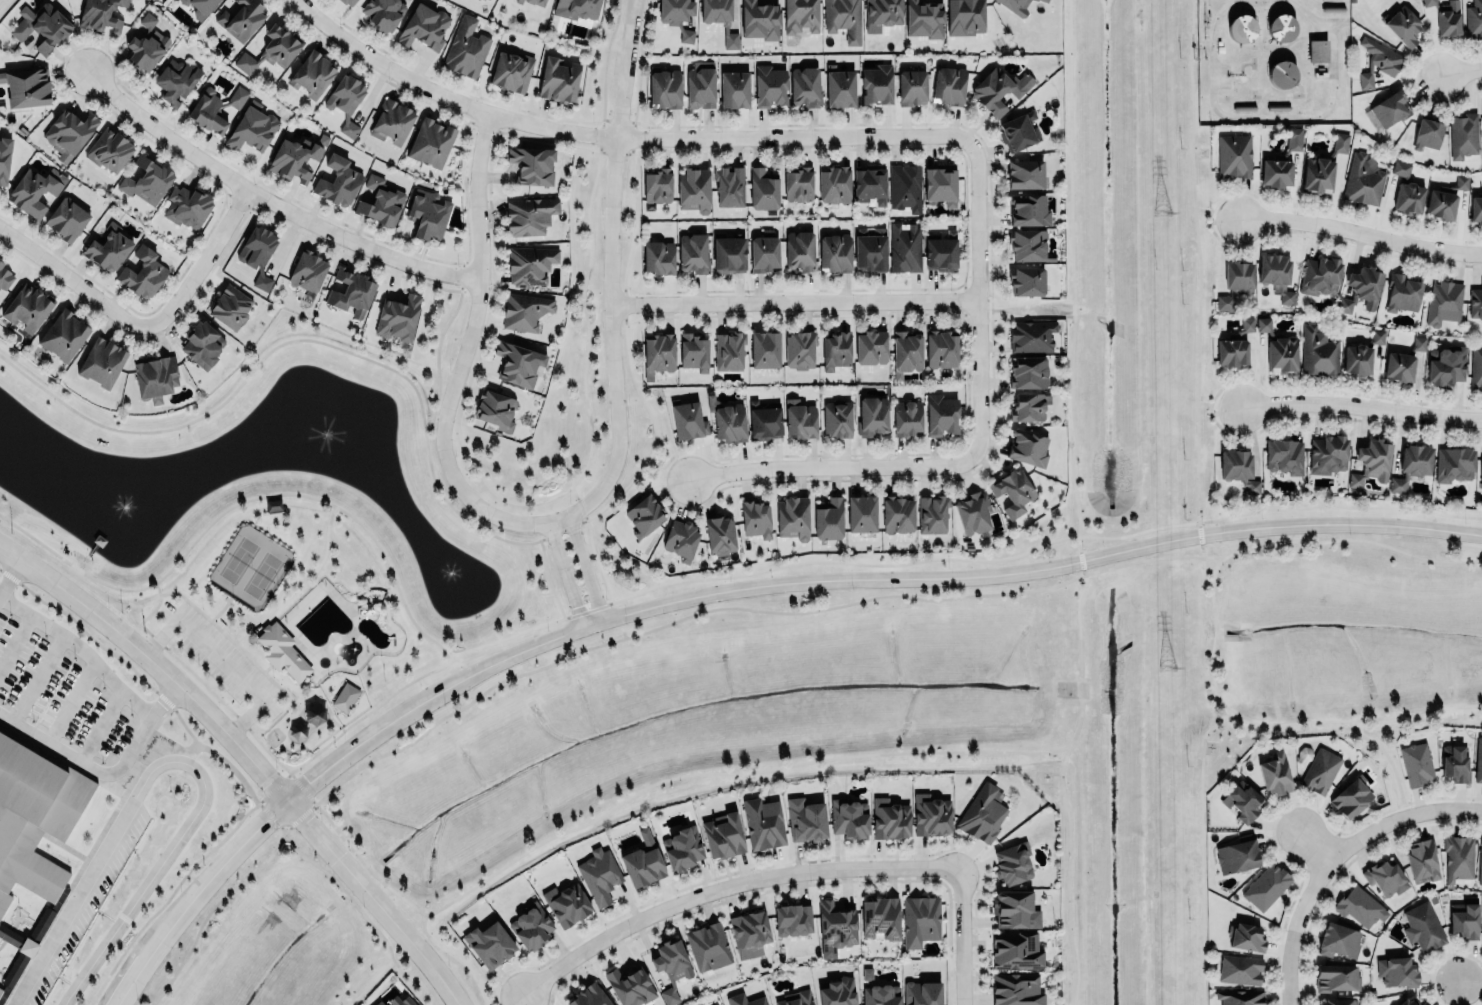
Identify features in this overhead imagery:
building: (1046, 0)
building: (348, 1)
building: (535, 2)
building: (1428, 2)
road: (5, 6)
building: (1015, 6)
building: (199, 7)
building: (576, 8)
building: (382, 13)
building: (100, 14)
building: (881, 14)
building: (677, 16)
building: (799, 16)
building: (965, 16)
building: (842, 18)
building: (1448, 18)
building: (241, 19)
building: (719, 19)
building: (923, 19)
building: (147, 20)
building: (759, 20)
building: (1474, 20)
building: (41, 25)
building: (1402, 25)
building: (424, 26)
building: (1241, 28)
building: (1282, 28)
building: (272, 48)
building: (466, 48)
building: (146, 49)
building: (1317, 50)
road: (60, 59)
building: (1378, 62)
building: (512, 72)
building: (312, 73)
building: (1282, 74)
road: (1460, 74)
building: (558, 79)
building: (176, 80)
building: (700, 84)
building: (876, 84)
building: (770, 85)
building: (948, 85)
building: (805, 86)
building: (840, 86)
building: (912, 86)
building: (26, 87)
building: (665, 87)
road: (454, 88)
building: (734, 89)
building: (998, 89)
building: (345, 99)
building: (214, 107)
building: (1481, 107)
building: (1387, 111)
building: (391, 121)
building: (251, 128)
building: (1018, 131)
building: (68, 133)
building: (1427, 134)
road: (616, 136)
building: (1463, 136)
building: (1294, 139)
building: (430, 141)
building: (1340, 142)
road: (833, 149)
building: (109, 150)
building: (1234, 156)
building: (4, 157)
building: (293, 159)
building: (532, 165)
building: (1401, 168)
building: (1276, 171)
building: (1025, 174)
building: (1317, 174)
building: (1363, 179)
building: (338, 180)
building: (940, 182)
building: (1461, 182)
building: (147, 183)
building: (657, 184)
building: (798, 184)
building: (834, 184)
building: (729, 185)
building: (869, 185)
building: (903, 185)
building: (34, 190)
building: (693, 190)
building: (762, 190)
building: (1408, 197)
building: (381, 201)
road: (270, 202)
building: (1440, 204)
building: (187, 205)
building: (1475, 208)
building: (1029, 209)
power tower: (1164, 213)
road: (1218, 213)
building: (427, 214)
building: (529, 214)
building: (66, 218)
road: (1362, 233)
building: (1028, 244)
building: (903, 245)
building: (108, 249)
building: (870, 249)
building: (799, 250)
road: (202, 251)
building: (691, 251)
building: (940, 251)
building: (835, 252)
building: (257, 253)
building: (764, 253)
building: (728, 255)
building: (658, 257)
road: (203, 259)
building: (529, 265)
road: (612, 266)
building: (308, 271)
building: (142, 272)
building: (1276, 276)
building: (1320, 276)
building: (5, 277)
road: (490, 277)
road: (1199, 278)
road: (459, 279)
building: (1026, 281)
building: (1236, 281)
road: (75, 282)
building: (1361, 289)
building: (352, 292)
building: (1402, 292)
road: (978, 300)
road: (962, 301)
building: (1444, 302)
building: (1475, 302)
road: (795, 303)
road: (1026, 304)
building: (27, 306)
road: (131, 306)
building: (230, 306)
building: (524, 310)
building: (397, 316)
road: (962, 321)
building: (1247, 324)
building: (1263, 324)
building: (63, 333)
building: (1031, 335)
building: (1377, 336)
road: (142, 338)
building: (202, 342)
building: (1419, 343)
building: (766, 345)
building: (871, 346)
building: (906, 348)
building: (941, 348)
building: (692, 349)
building: (799, 349)
building: (836, 349)
building: (729, 350)
building: (1317, 350)
building: (658, 352)
building: (1232, 352)
building: (1281, 355)
building: (1357, 360)
building: (101, 362)
building: (518, 363)
road: (461, 364)
building: (1446, 364)
building: (1399, 366)
building: (1476, 367)
building: (1028, 371)
building: (155, 378)
road: (581, 387)
road: (1220, 405)
building: (1029, 406)
road: (1362, 406)
building: (941, 413)
building: (872, 415)
building: (837, 417)
building: (907, 417)
building: (765, 419)
building: (799, 419)
building: (687, 420)
building: (727, 420)
building: (1026, 444)
building: (1282, 452)
building: (1328, 454)
building: (1372, 461)
building: (1453, 463)
building: (1411, 465)
building: (1481, 466)
road: (666, 468)
road: (831, 468)
building: (1239, 469)
building: (1012, 491)
road: (436, 493)
road: (238, 502)
fountain: (123, 505)
road: (1075, 505)
building: (861, 513)
building: (932, 513)
building: (973, 513)
building: (643, 514)
building: (898, 514)
building: (755, 518)
building: (792, 518)
building: (829, 518)
building: (719, 534)
park: (275, 535)
building: (680, 539)
road: (588, 544)
park: (239, 559)
road: (854, 564)
road: (583, 567)
road: (11, 572)
park: (262, 574)
road: (563, 574)
fountain: (450, 575)
road: (295, 580)
road: (544, 580)
road: (728, 590)
road: (221, 608)
road: (1214, 631)
water park: (329, 633)
road: (233, 640)
road: (619, 640)
road: (80, 646)
building: (282, 651)
parking lot: (221, 657)
road: (222, 660)
road: (267, 667)
power tower: (1165, 668)
road: (207, 686)
road: (165, 697)
building: (345, 697)
road: (315, 698)
road: (274, 718)
road: (155, 735)
road: (248, 755)
road: (176, 759)
road: (1389, 759)
building: (1478, 760)
building: (1416, 763)
building: (1455, 763)
road: (85, 764)
building: (1320, 770)
building: (1275, 773)
road: (644, 788)
building: (1351, 798)
building: (1242, 801)
building: (931, 814)
building: (982, 814)
road: (1402, 816)
building: (849, 818)
building: (890, 818)
building: (806, 820)
building: (763, 823)
building: (723, 834)
building: (31, 837)
road: (1316, 845)
building: (682, 847)
road: (1200, 851)
building: (1237, 856)
building: (1459, 857)
building: (1422, 860)
building: (642, 861)
building: (1013, 862)
building: (1480, 862)
building: (599, 875)
building: (1385, 878)
road: (729, 885)
building: (1266, 886)
road: (342, 888)
building: (567, 904)
building: (1359, 906)
building: (1013, 908)
building: (881, 916)
building: (1465, 918)
building: (793, 919)
building: (921, 919)
building: (41, 924)
building: (837, 924)
building: (531, 925)
building: (1423, 926)
road: (1298, 927)
building: (749, 929)
road: (962, 936)
building: (1246, 937)
building: (1338, 940)
building: (489, 944)
building: (708, 946)
building: (1016, 950)
building: (671, 966)
building: (1240, 968)
building: (1399, 972)
road: (358, 974)
building: (867, 974)
building: (1336, 977)
road: (1472, 981)
building: (629, 986)
building: (1016, 989)
building: (838, 992)
building: (921, 992)
building: (590, 994)
building: (881, 994)
building: (1240, 997)
road: (515, 998)
building: (796, 998)
building: (396, 1000)
building: (744, 1000)
building: (1339, 1001)
building: (1405, 1002)
building: (1423, 1003)
building: (718, 1004)

